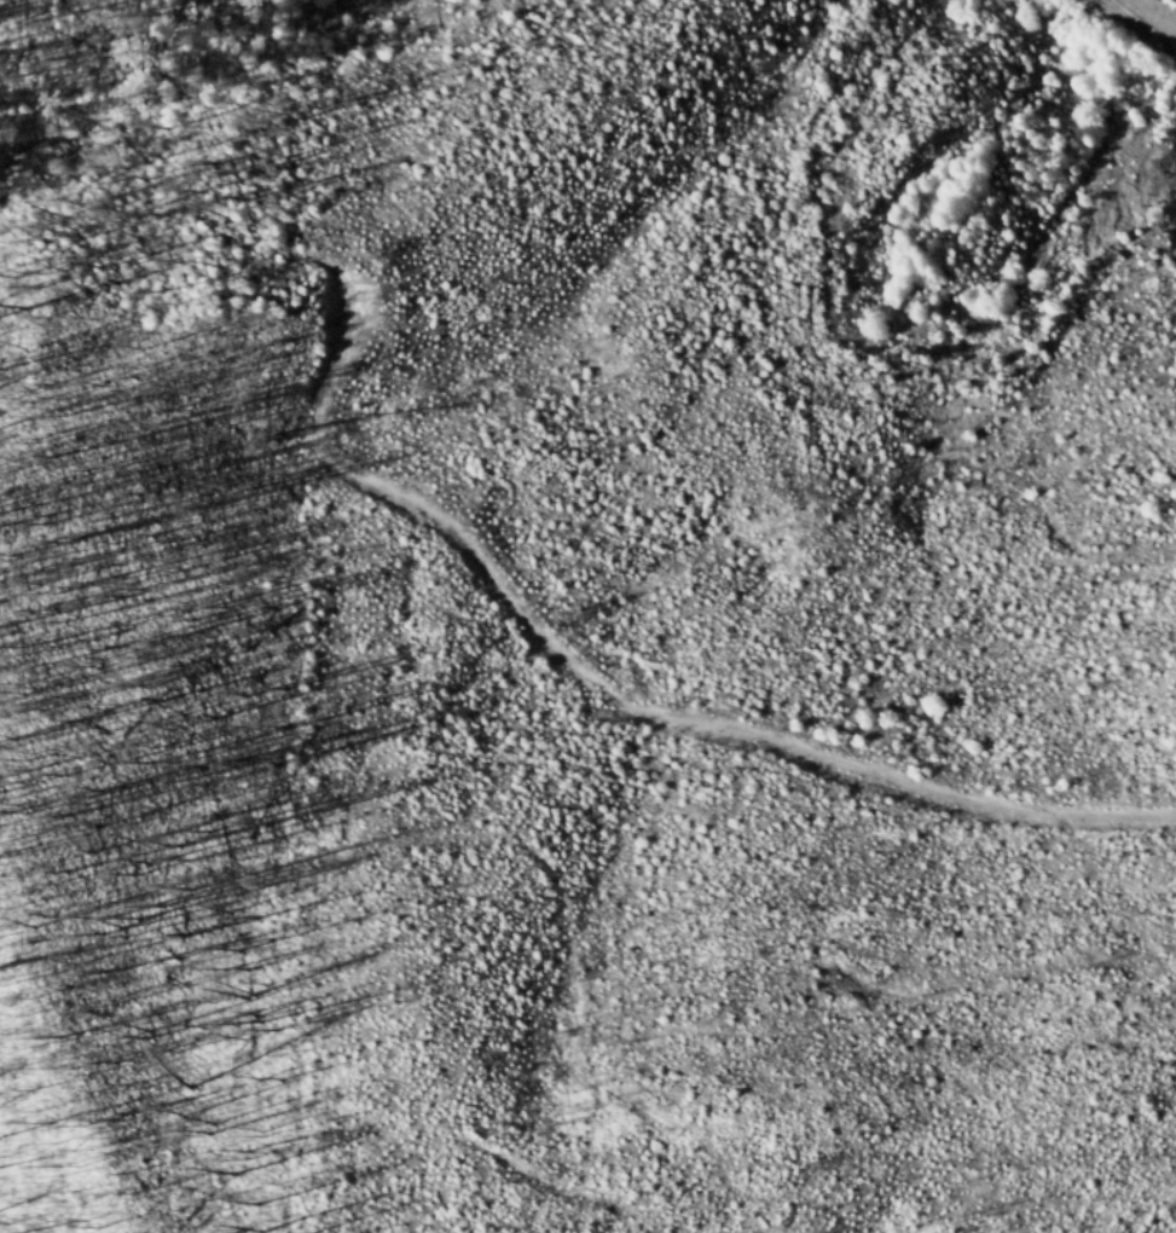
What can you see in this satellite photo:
railway: (1139, 25)
road: (638, 689)

